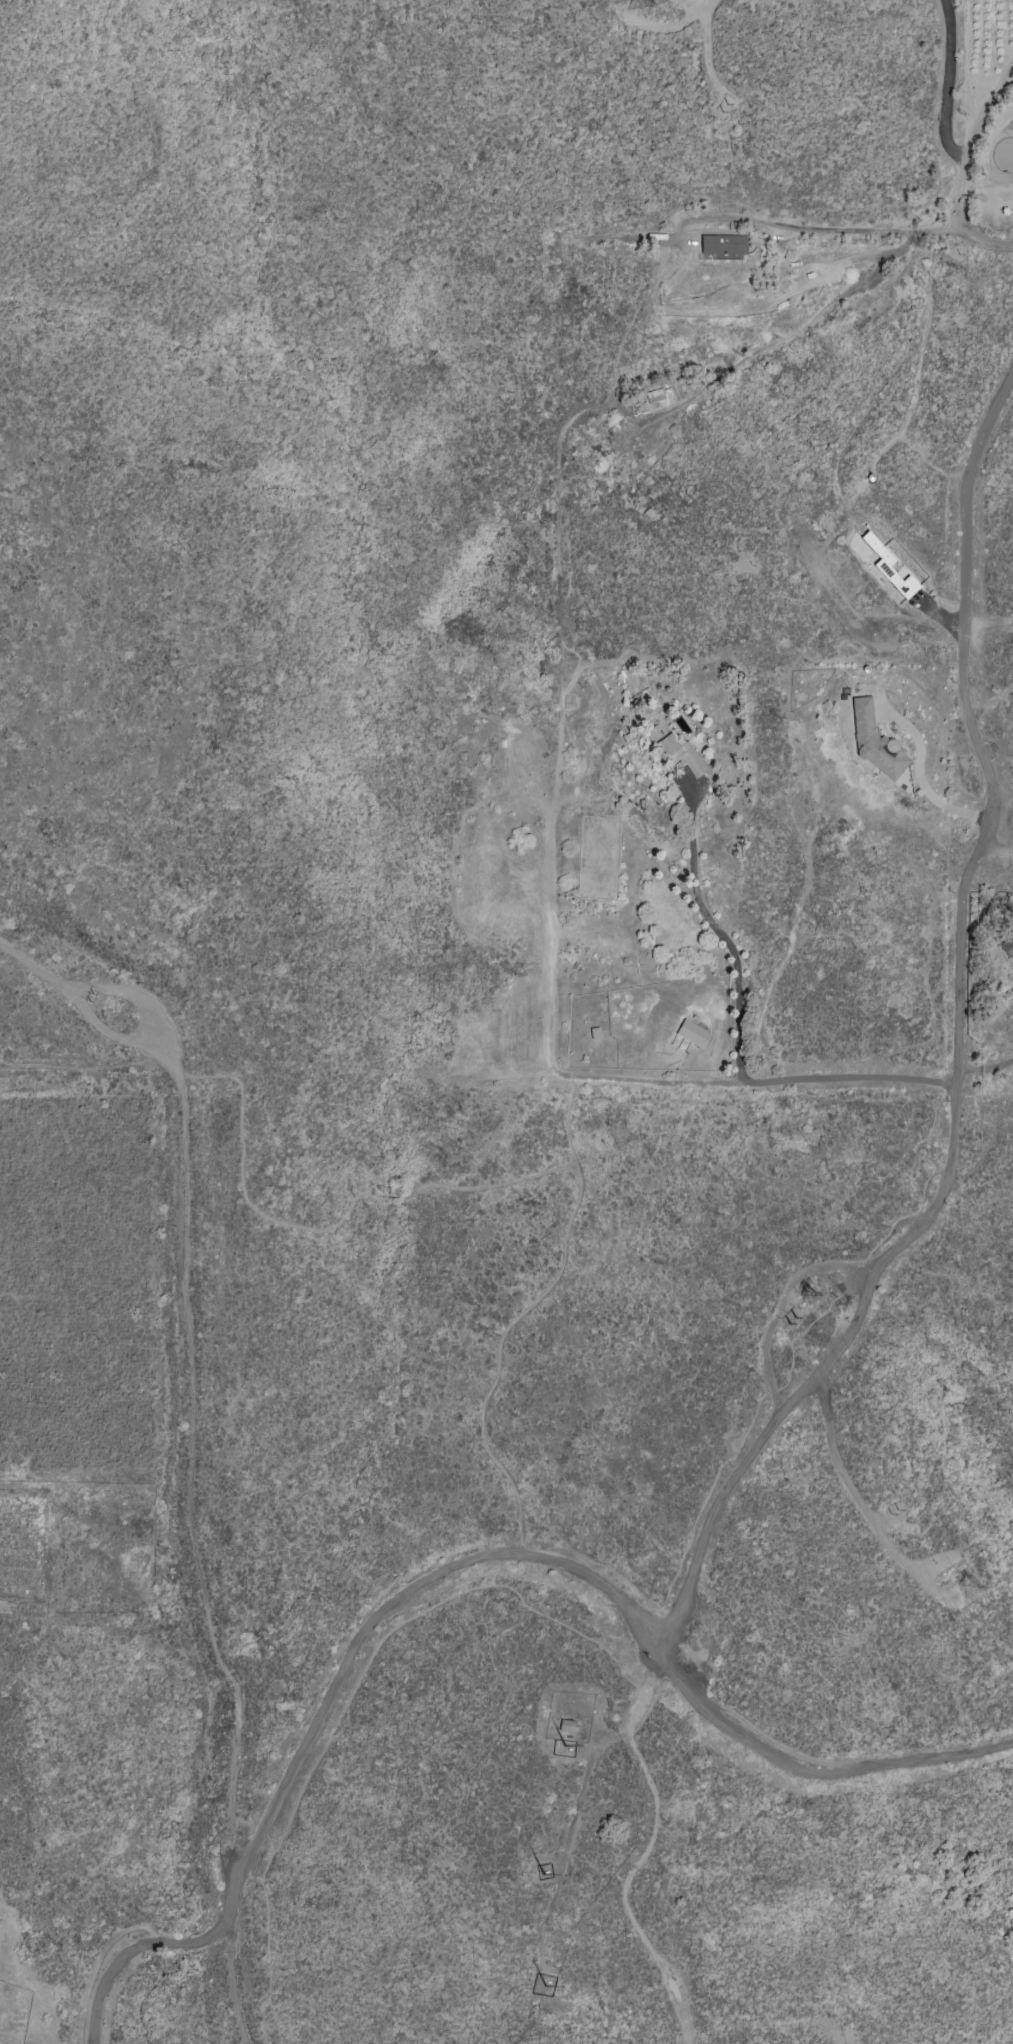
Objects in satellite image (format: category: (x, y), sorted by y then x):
power tower: (641, 4)
road: (707, 53)
road: (952, 82)
power tower: (721, 108)
road: (965, 172)
road: (806, 228)
road: (934, 232)
building: (722, 245)
road: (810, 327)
building: (658, 395)
road: (997, 407)
road: (1002, 728)
building: (874, 742)
building: (673, 751)
road: (920, 779)
road: (566, 847)
road: (728, 939)
building: (1007, 946)
power tower: (92, 999)
building: (692, 1033)
road: (984, 1068)
road: (955, 1081)
road: (647, 1085)
road: (350, 1201)
power tower: (810, 1297)
power tower: (785, 1318)
road: (497, 1354)
road: (192, 1394)
road: (758, 1405)
road: (858, 1501)
power tower: (893, 1518)
power tower: (967, 1588)
road: (413, 1616)
road: (320, 1713)
building: (566, 1726)
road: (811, 1762)
road: (648, 1847)
road: (267, 1933)
road: (230, 1989)

